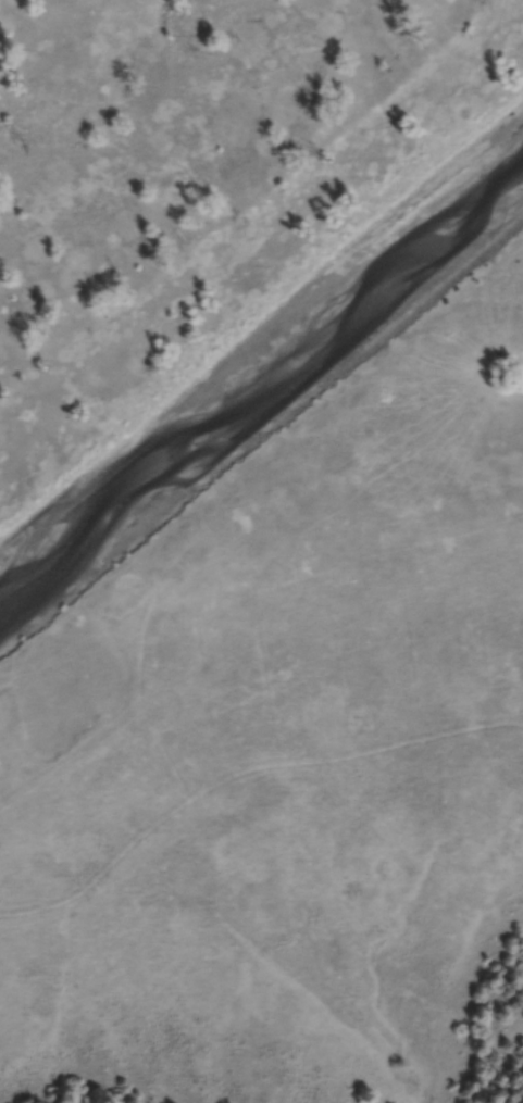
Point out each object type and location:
park: (211, 216)
river: (258, 390)

